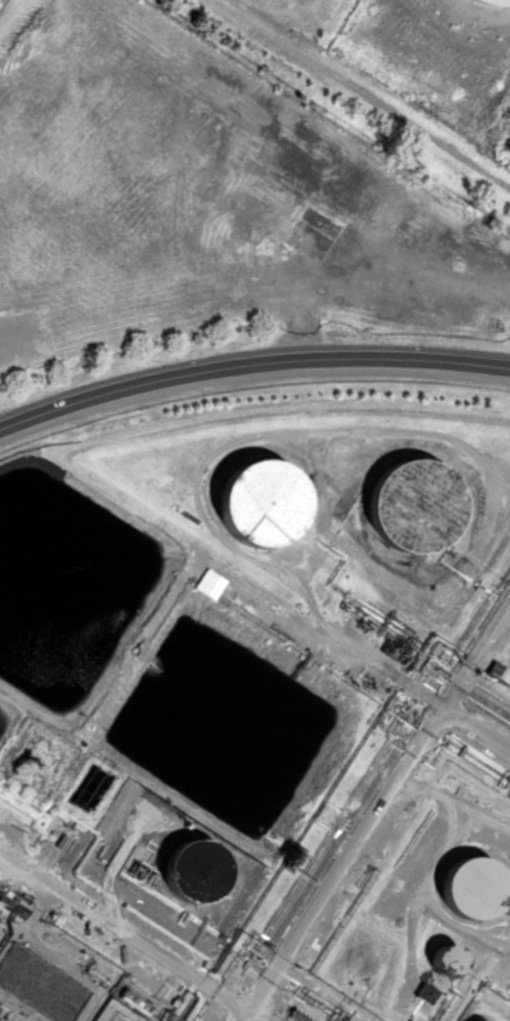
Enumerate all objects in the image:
power plant: (434, 63)
road: (250, 363)
road: (292, 627)
road: (476, 659)
road: (476, 734)
road: (346, 863)
road: (125, 935)
road: (247, 1017)
road: (255, 1017)

